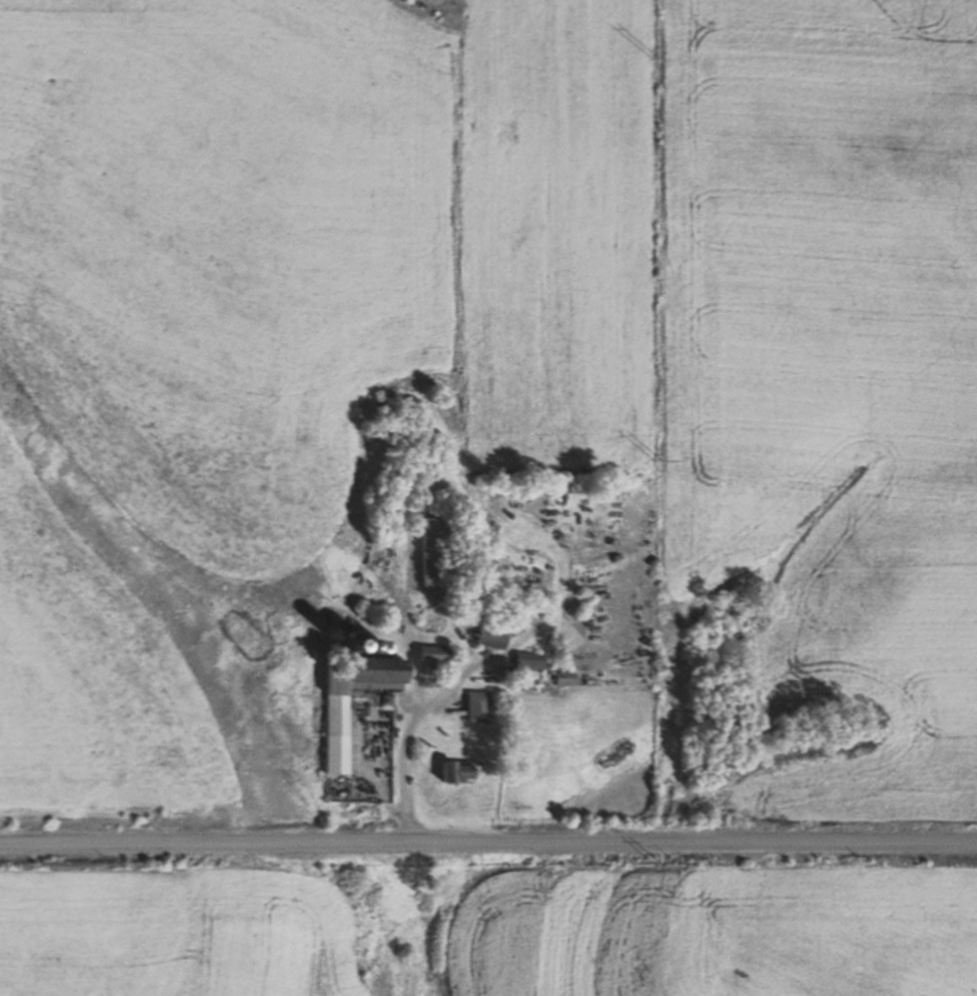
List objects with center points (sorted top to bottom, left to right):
building: (429, 552)
building: (483, 637)
building: (427, 653)
building: (520, 660)
building: (557, 678)
building: (427, 679)
building: (470, 706)
building: (327, 734)
building: (449, 770)
road: (488, 843)

